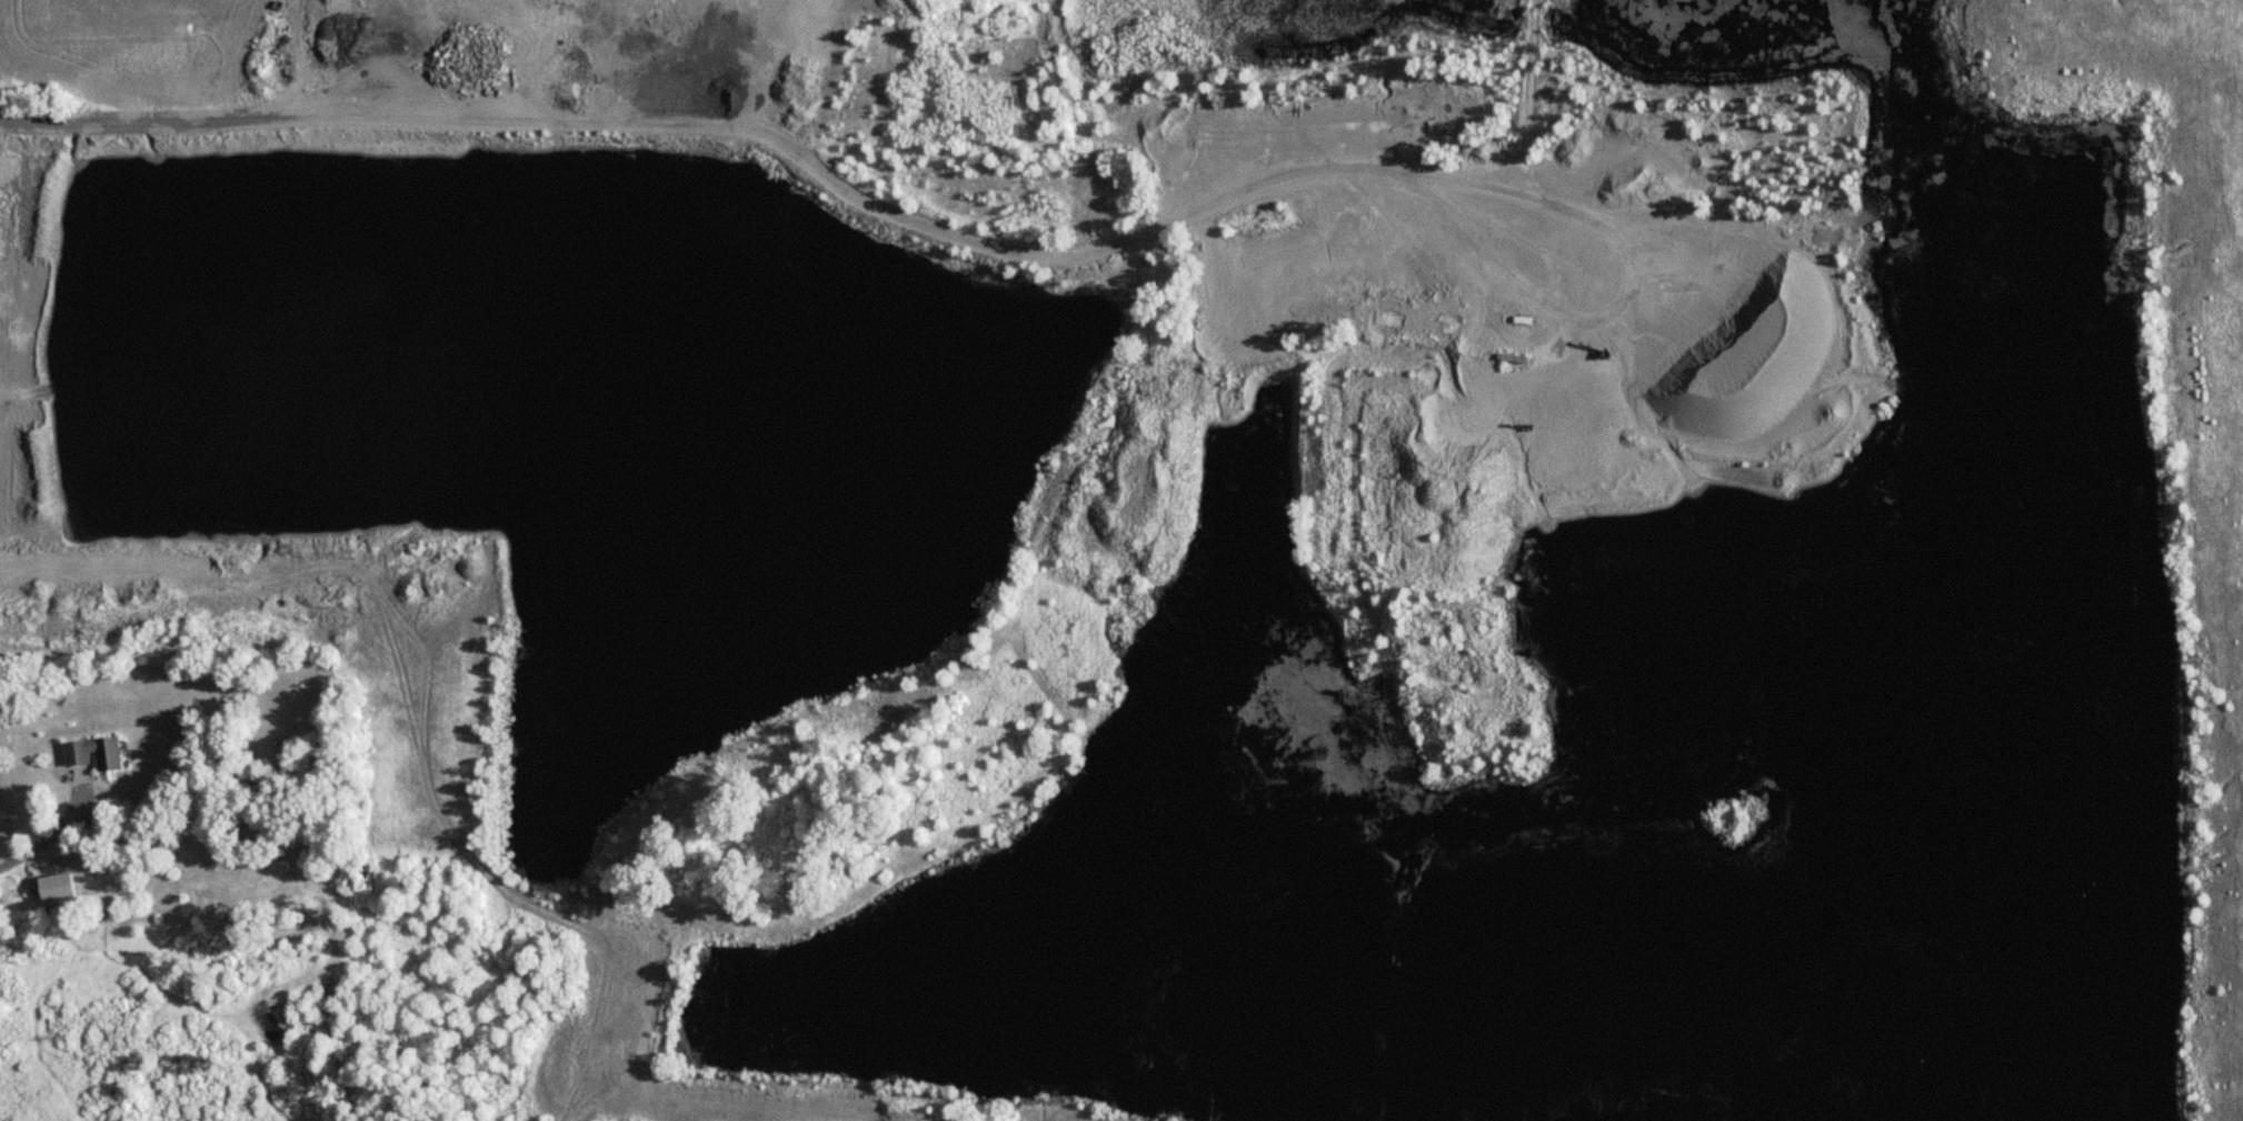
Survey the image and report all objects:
building: (2, 190)
building: (72, 248)
building: (97, 751)
road: (47, 835)

